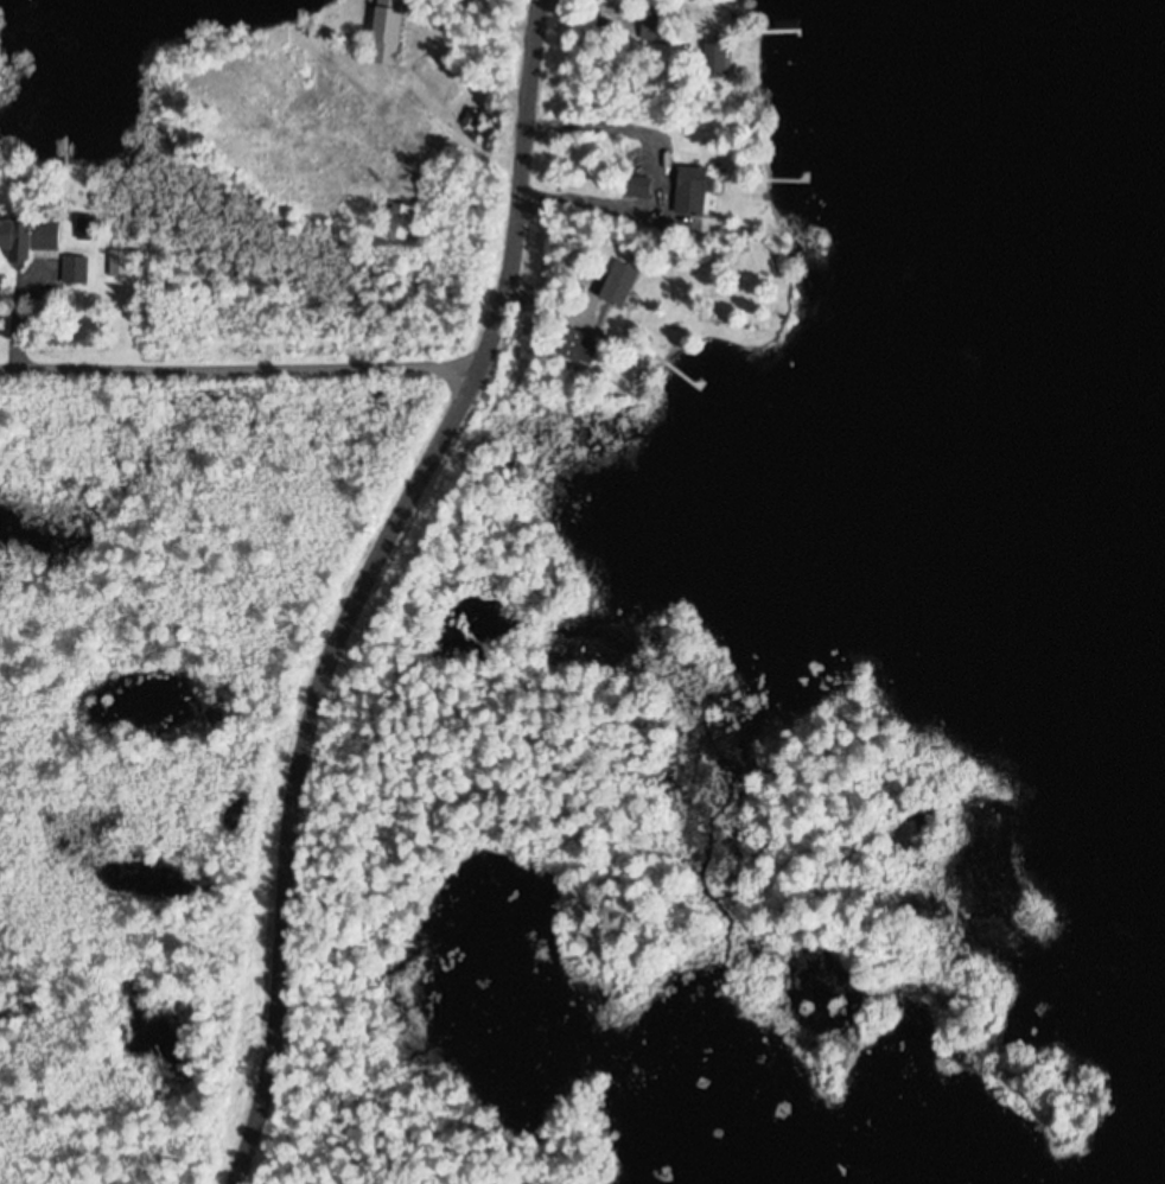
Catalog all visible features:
building: (387, 32)
building: (639, 187)
building: (694, 190)
building: (400, 221)
building: (28, 238)
building: (75, 269)
building: (619, 284)
building: (578, 345)
road: (240, 369)
road: (368, 584)

